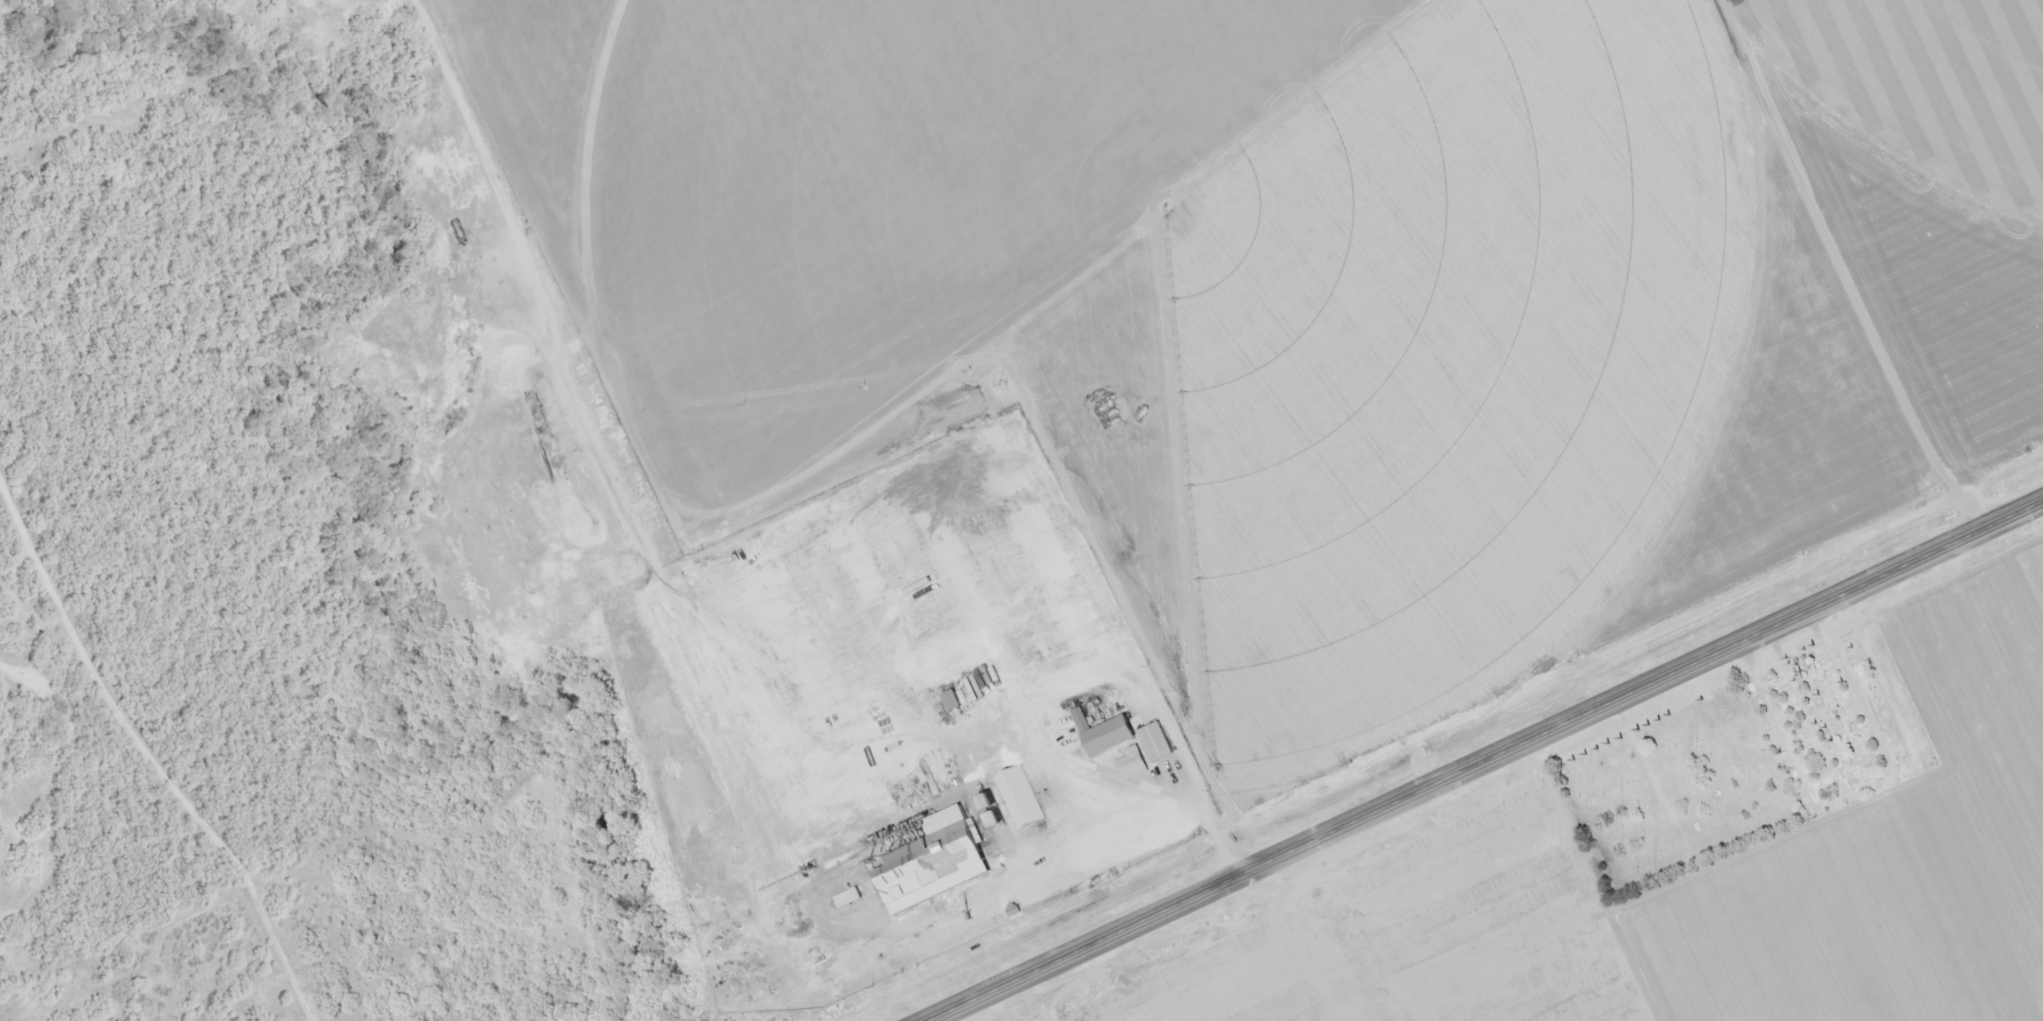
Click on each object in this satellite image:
road: (1130, 636)
building: (956, 702)
building: (1083, 721)
park: (1827, 726)
road: (1028, 731)
building: (1131, 740)
road: (1484, 760)
building: (1134, 764)
road: (1152, 790)
road: (136, 793)
park: (1671, 793)
building: (938, 869)

